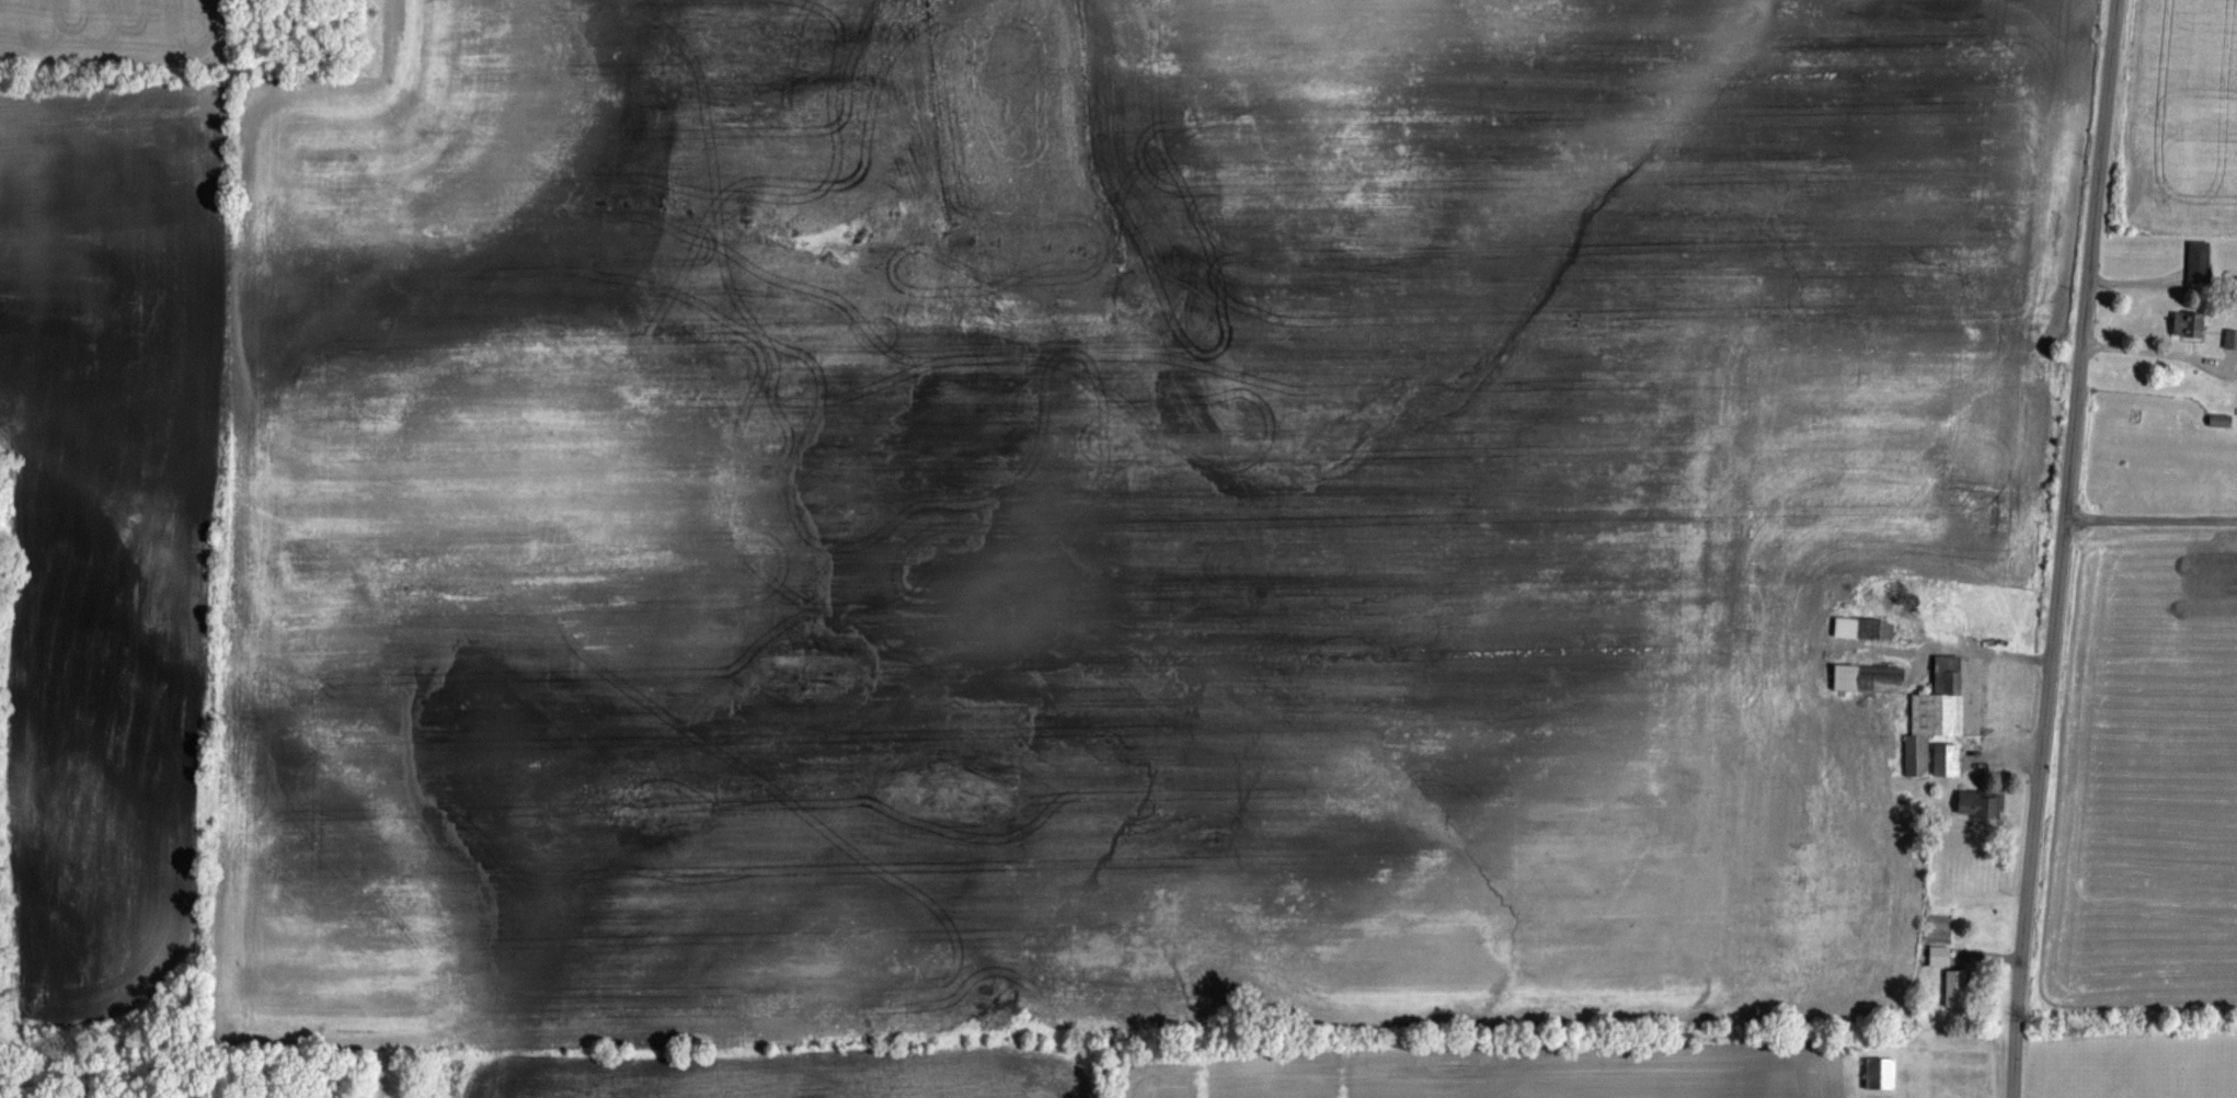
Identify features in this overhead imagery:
building: (2198, 262)
building: (2188, 324)
building: (2230, 340)
road: (2147, 351)
building: (2219, 421)
road: (2156, 518)
road: (2069, 549)
building: (1874, 630)
building: (1868, 679)
building: (1934, 714)
building: (1946, 760)
building: (1978, 804)
building: (1939, 957)
building: (1955, 990)
building: (1880, 1075)

